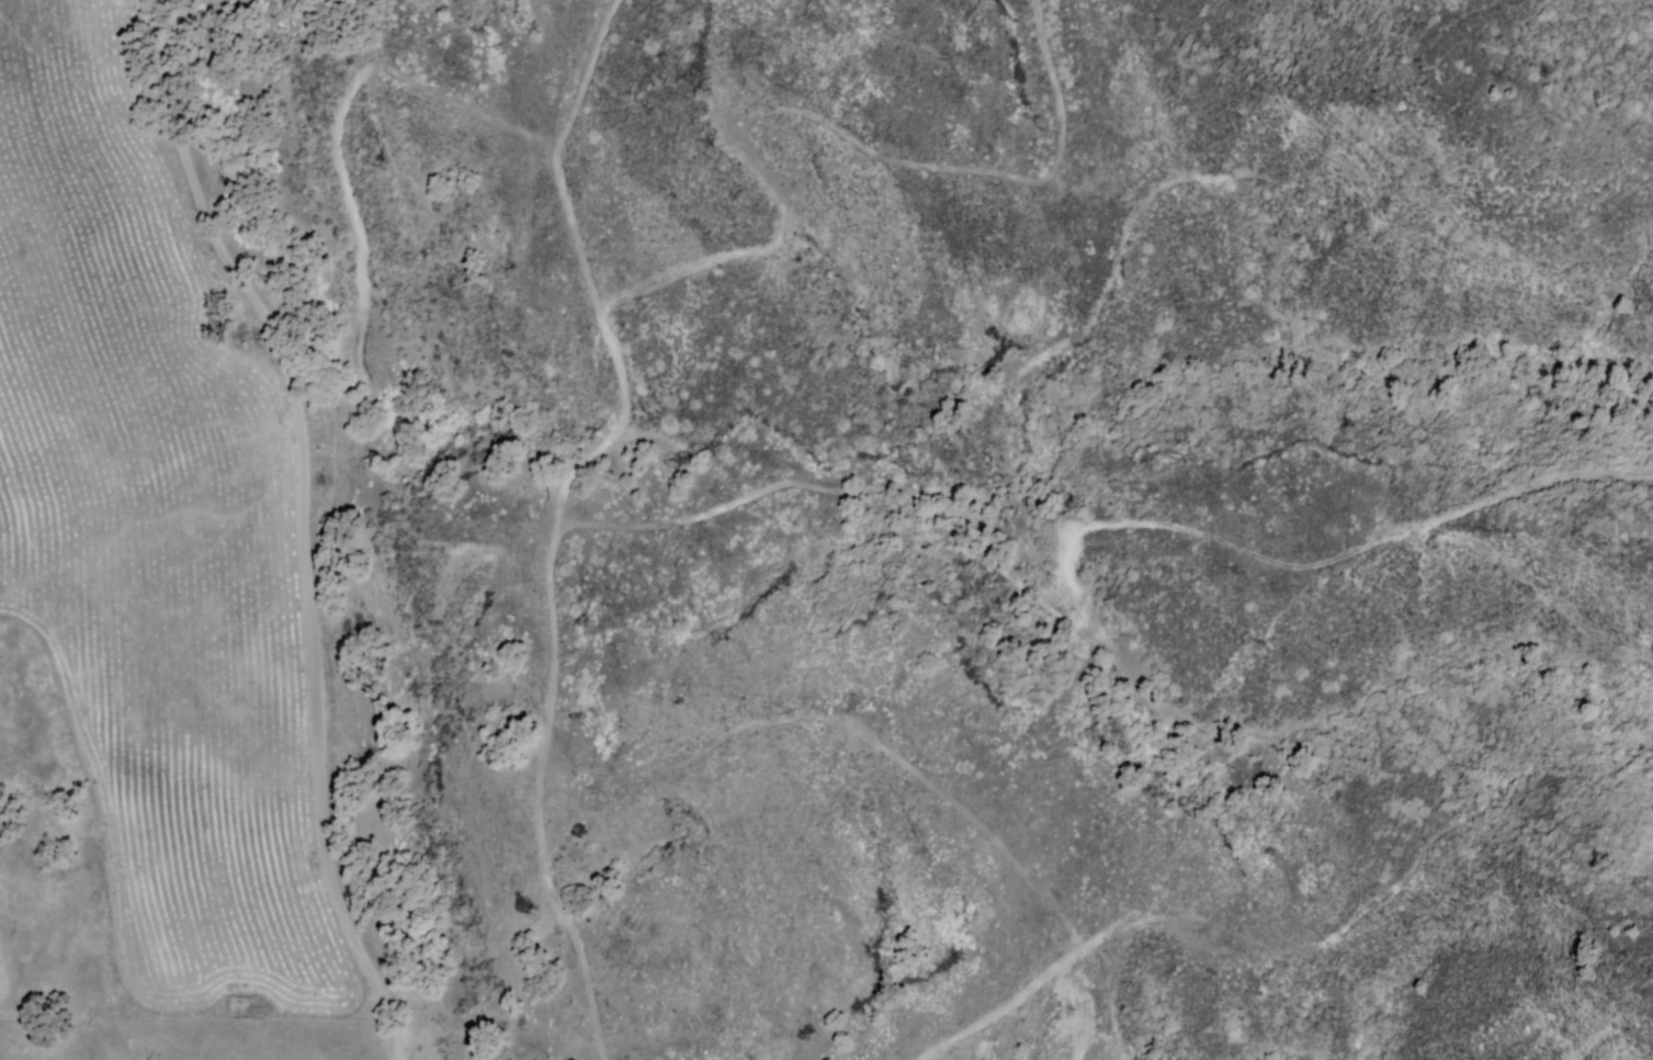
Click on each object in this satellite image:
road: (299, 519)

